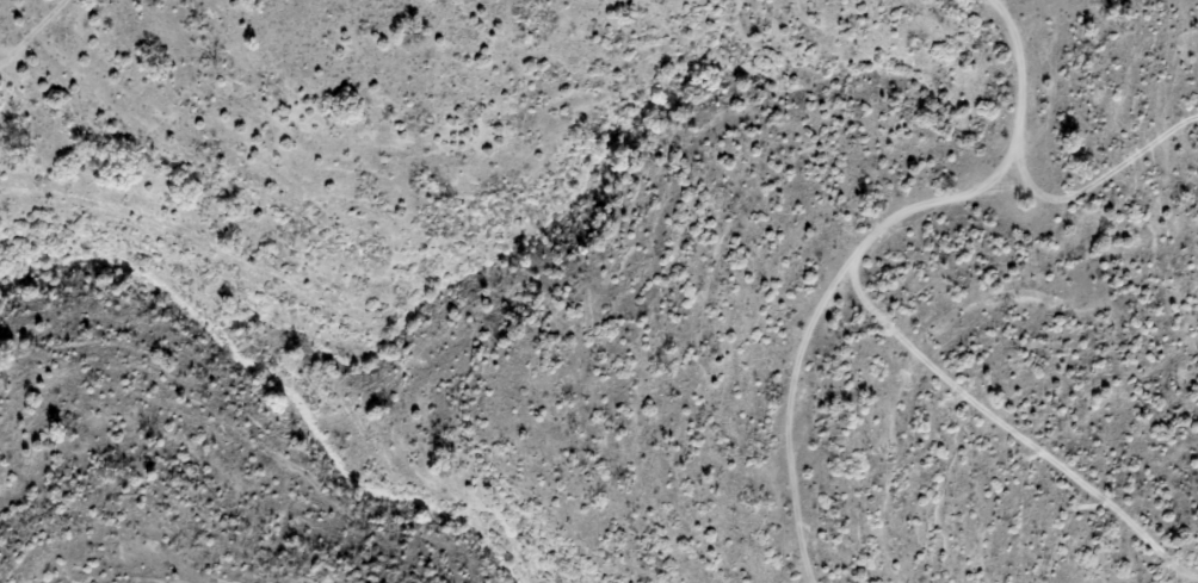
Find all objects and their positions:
road: (1030, 91)
road: (888, 259)

